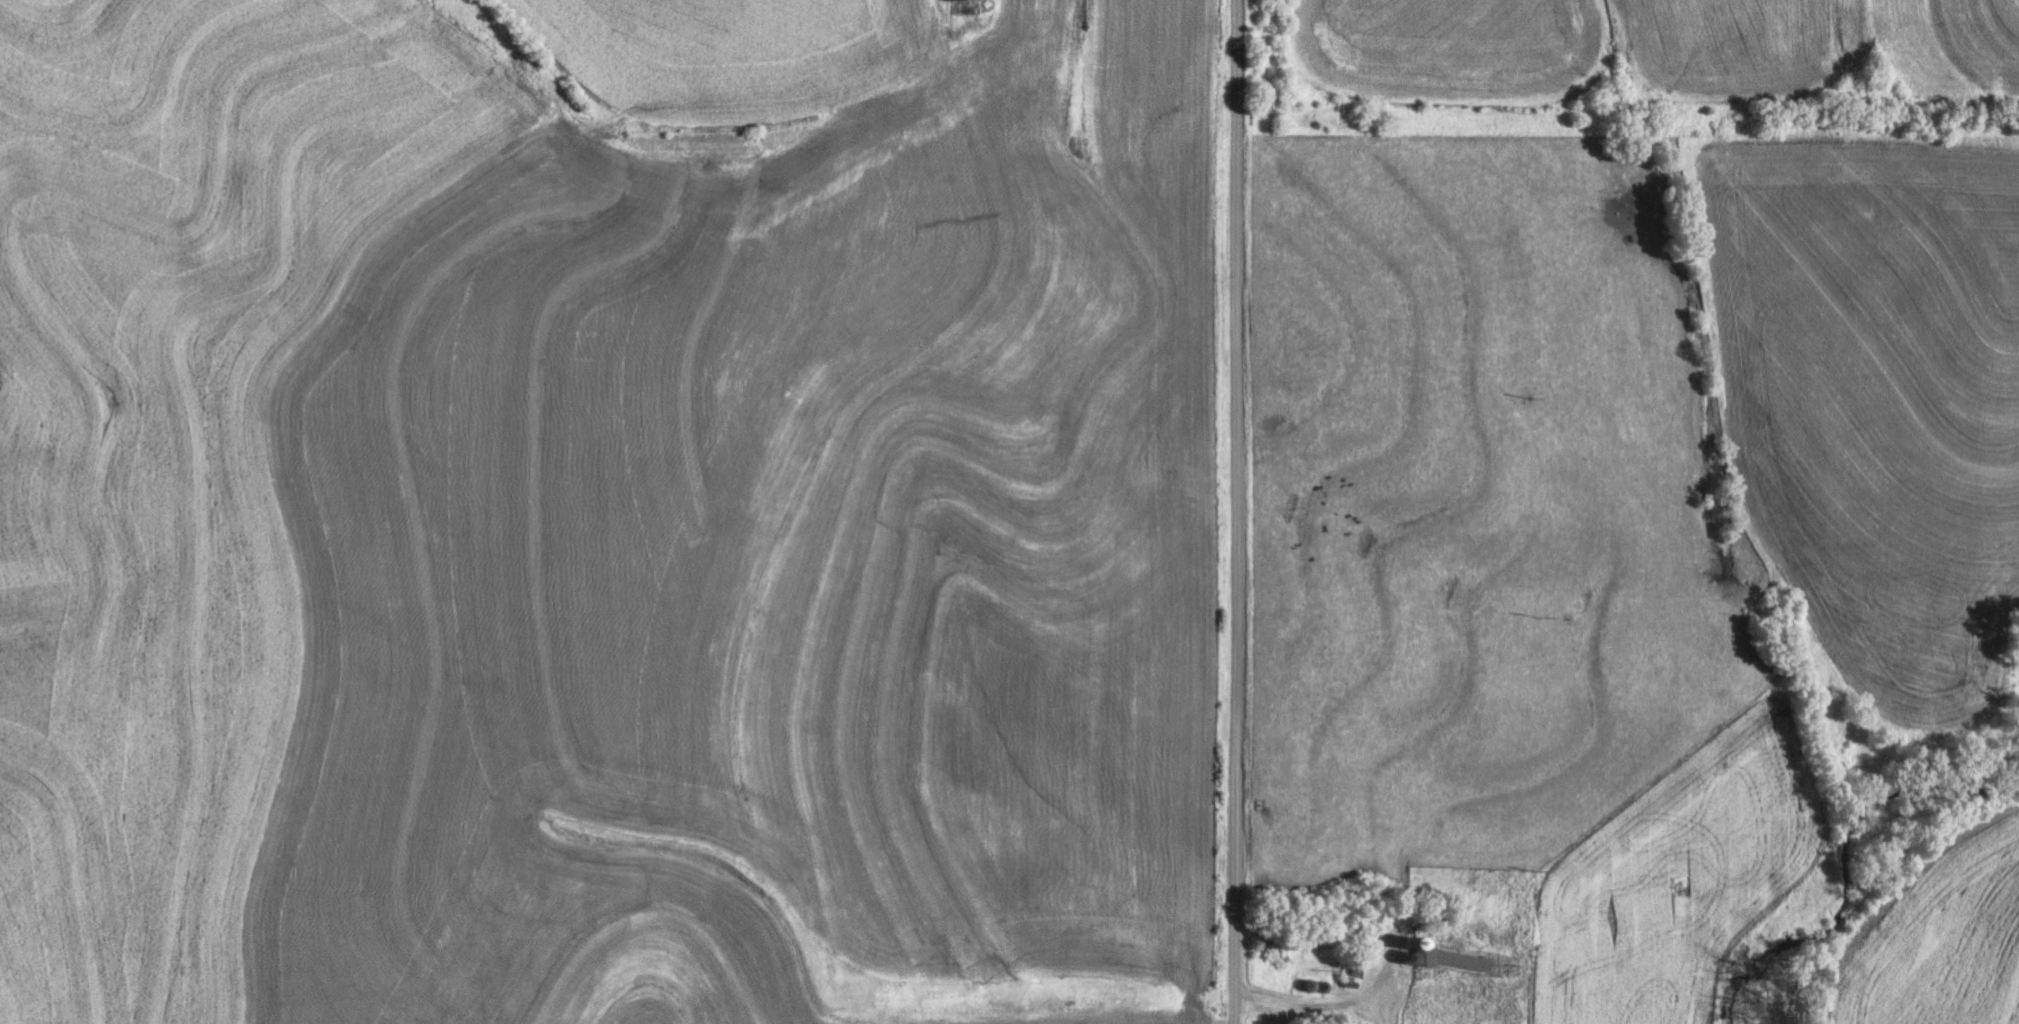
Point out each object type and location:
building: (964, 0)
road: (1235, 512)

